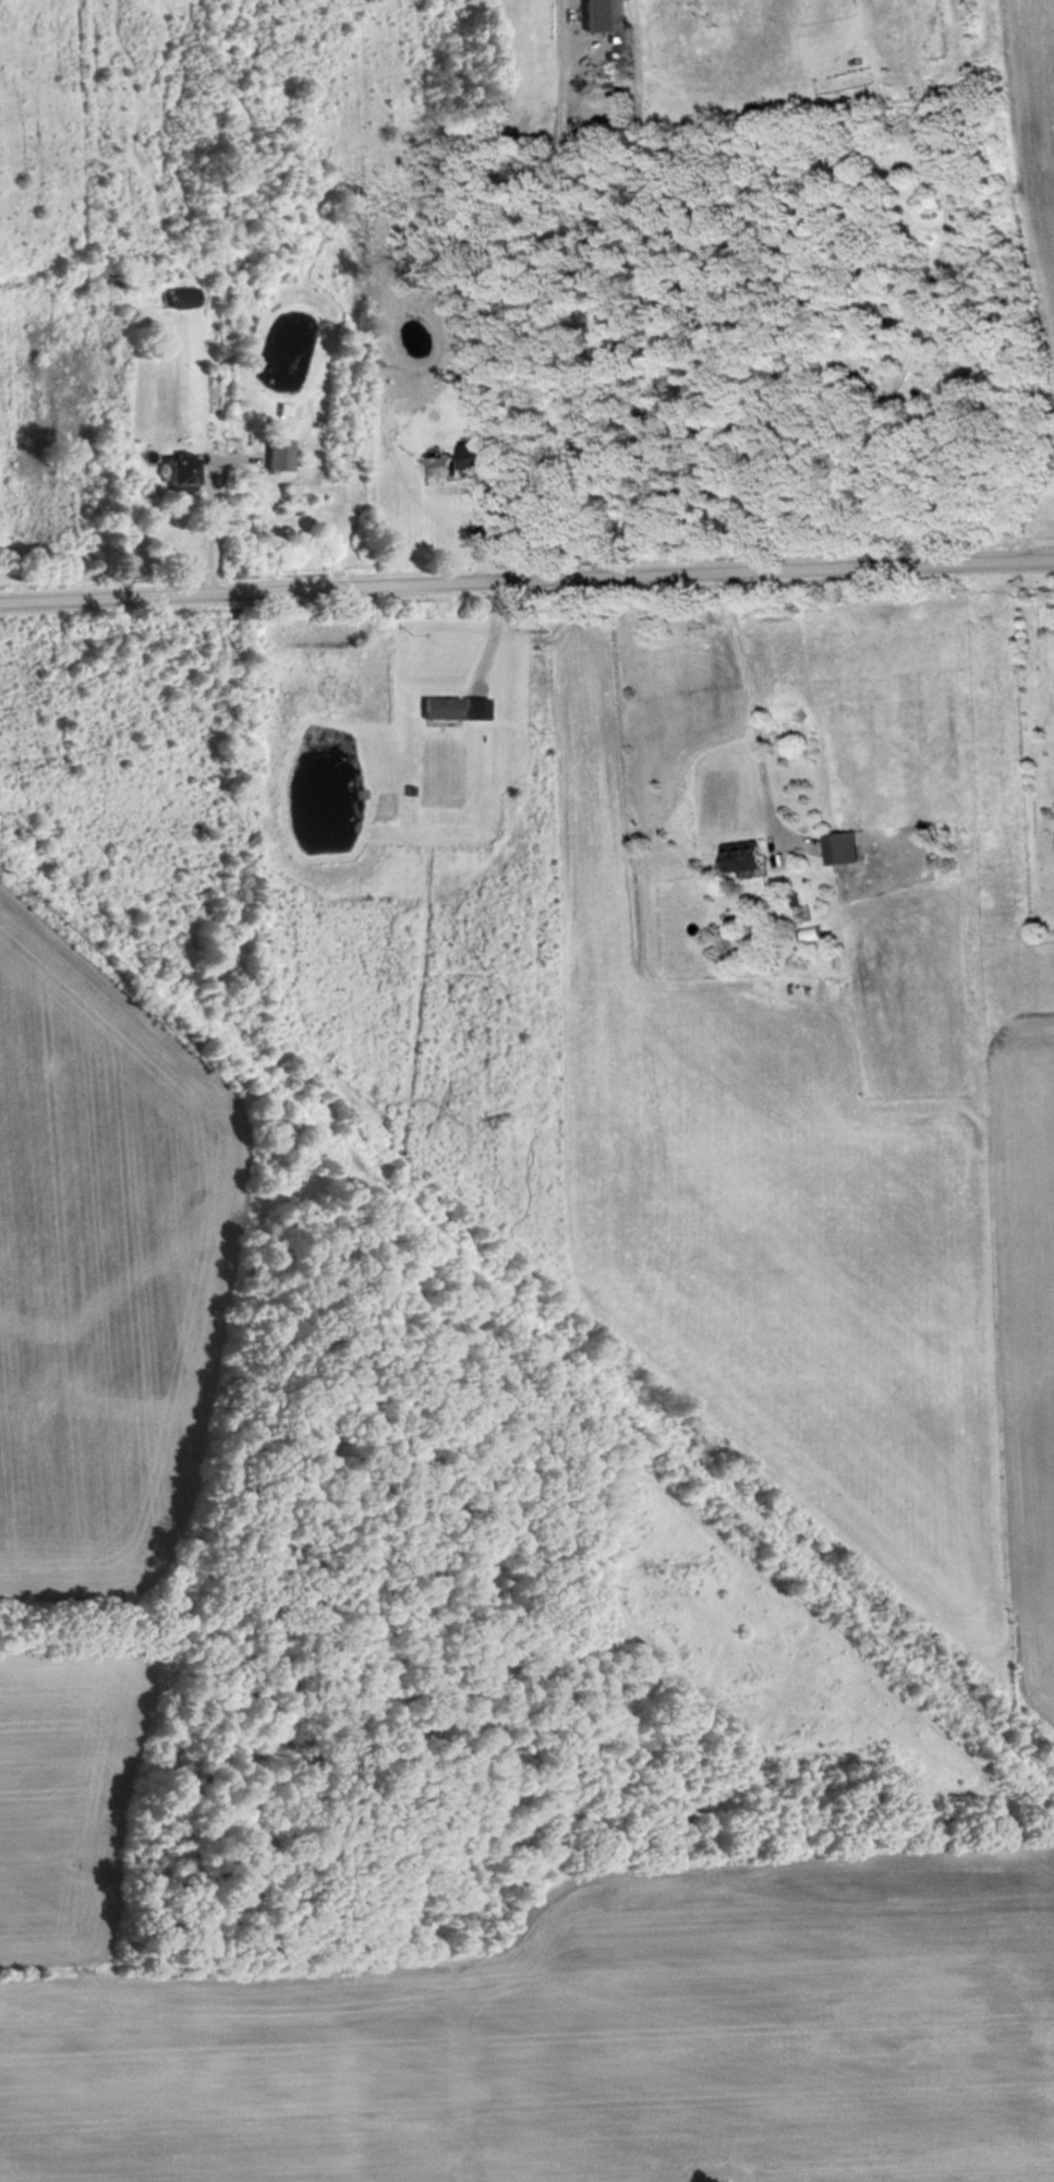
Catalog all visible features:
building: (605, 14)
road: (613, 284)
building: (185, 296)
building: (953, 371)
building: (282, 454)
building: (462, 462)
building: (186, 472)
road: (526, 581)
building: (446, 709)
building: (846, 848)
building: (748, 858)
railway: (529, 1304)

